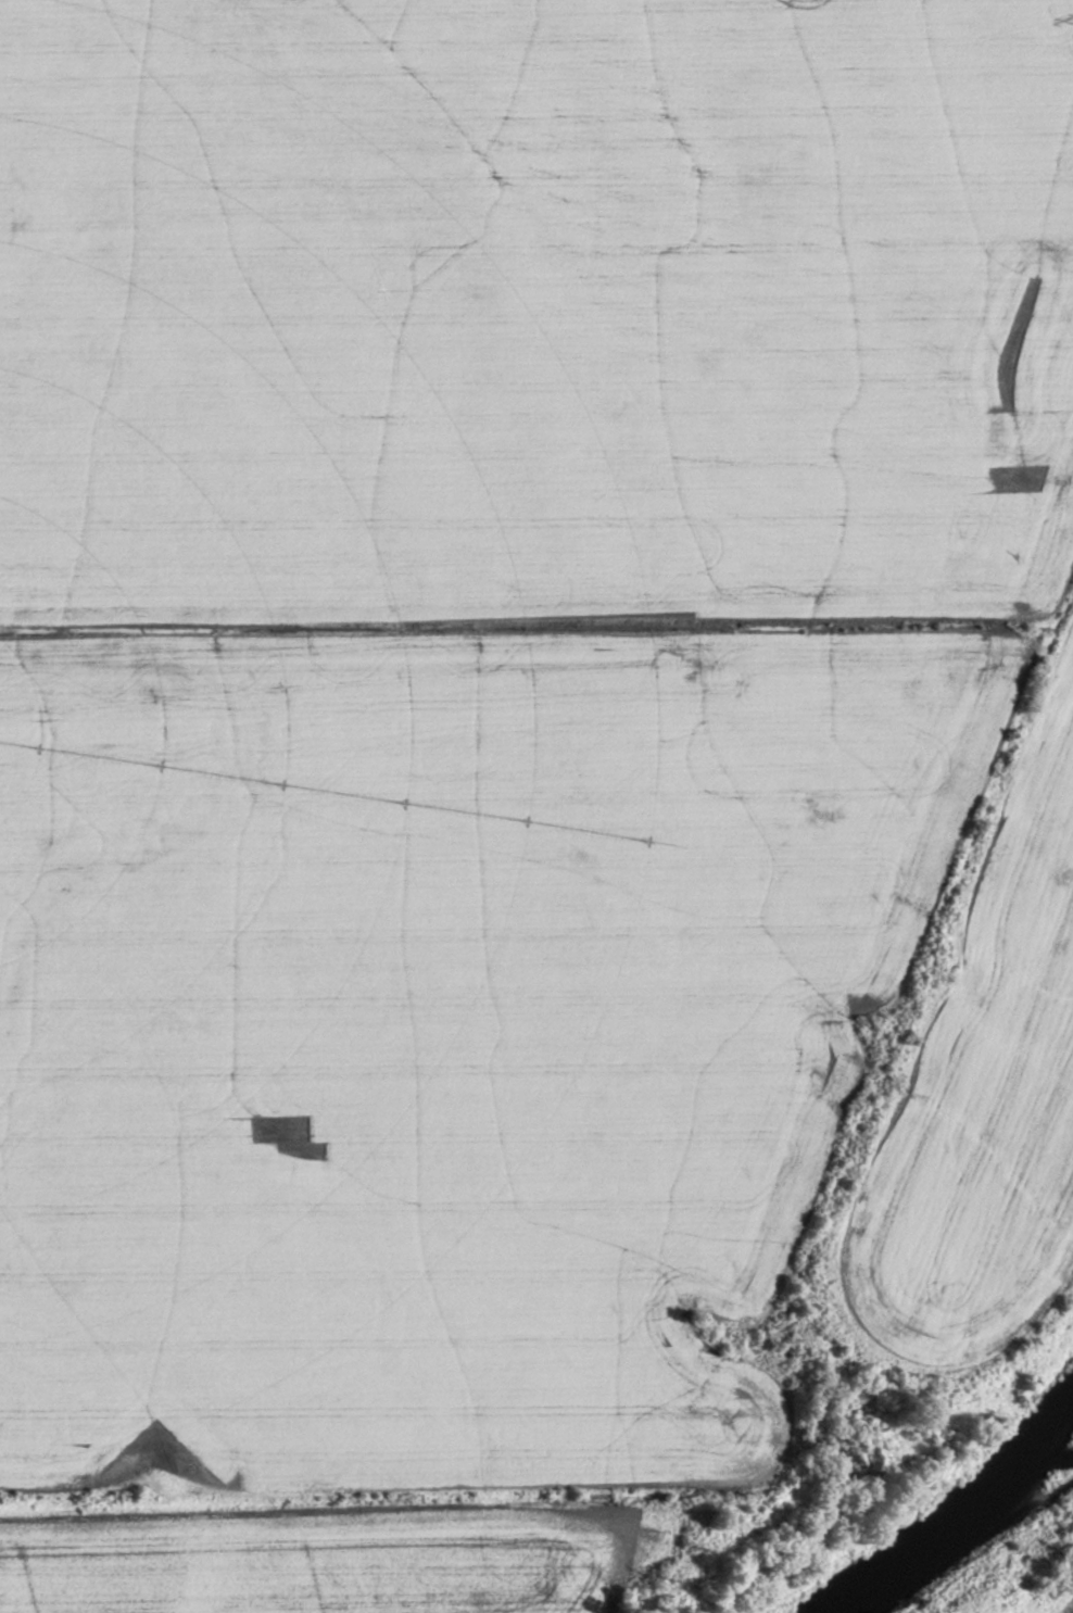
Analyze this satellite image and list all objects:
river: (950, 1507)

